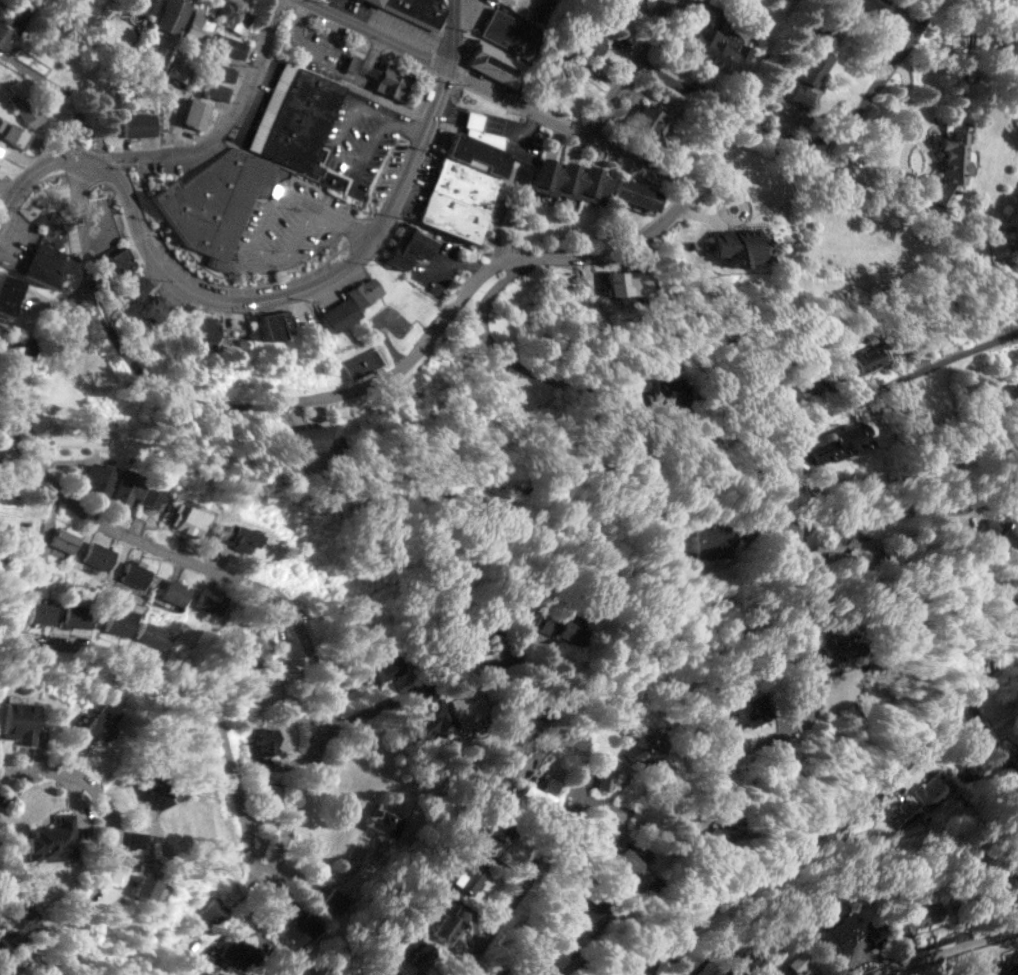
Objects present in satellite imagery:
building: (371, 2)
building: (873, 5)
building: (416, 10)
building: (544, 10)
building: (232, 15)
building: (170, 18)
building: (13, 19)
building: (197, 27)
building: (511, 32)
road: (377, 33)
road: (450, 34)
building: (589, 42)
building: (718, 44)
road: (331, 52)
building: (497, 65)
building: (811, 65)
road: (627, 67)
building: (571, 68)
building: (387, 82)
road: (905, 88)
building: (215, 90)
road: (860, 106)
building: (25, 109)
building: (196, 114)
building: (293, 117)
road: (224, 120)
road: (563, 122)
road: (492, 123)
building: (137, 124)
building: (649, 124)
road: (406, 128)
road: (773, 129)
building: (479, 131)
building: (13, 133)
building: (1, 147)
road: (330, 155)
road: (929, 158)
building: (951, 158)
road: (39, 168)
building: (571, 181)
building: (845, 183)
building: (460, 187)
building: (635, 194)
building: (217, 202)
road: (347, 218)
building: (739, 245)
road: (255, 246)
building: (405, 246)
building: (120, 260)
building: (42, 264)
building: (625, 283)
building: (136, 284)
road: (302, 291)
building: (6, 292)
building: (363, 292)
building: (151, 308)
building: (338, 314)
building: (268, 325)
building: (205, 331)
building: (24, 350)
building: (870, 356)
road: (511, 361)
building: (360, 362)
building: (845, 365)
road: (903, 378)
building: (791, 385)
road: (346, 394)
building: (1012, 395)
building: (310, 437)
building: (838, 444)
building: (99, 476)
building: (126, 486)
building: (150, 495)
building: (8, 497)
road: (883, 508)
building: (191, 517)
building: (1001, 530)
building: (238, 537)
building: (64, 539)
building: (708, 540)
building: (98, 556)
road: (197, 565)
building: (135, 573)
building: (176, 591)
building: (209, 600)
building: (40, 612)
building: (76, 616)
building: (118, 621)
building: (543, 624)
building: (569, 631)
building: (474, 633)
building: (152, 635)
building: (247, 646)
building: (836, 646)
road: (500, 659)
building: (388, 667)
road: (200, 682)
building: (467, 706)
building: (742, 711)
building: (100, 720)
building: (19, 721)
building: (427, 723)
building: (531, 725)
building: (264, 740)
building: (644, 744)
building: (1014, 757)
building: (261, 762)
building: (972, 770)
road: (704, 772)
building: (605, 777)
building: (548, 784)
building: (932, 789)
building: (267, 792)
building: (156, 793)
building: (533, 798)
building: (903, 813)
road: (825, 818)
building: (383, 821)
building: (723, 829)
building: (497, 830)
building: (134, 839)
building: (52, 840)
road: (115, 847)
building: (485, 850)
building: (631, 869)
building: (466, 877)
building: (1013, 883)
road: (518, 885)
building: (148, 889)
building: (334, 900)
building: (208, 911)
building: (918, 916)
building: (587, 917)
building: (15, 924)
building: (446, 924)
building: (300, 930)
building: (850, 933)
building: (560, 947)
building: (239, 950)
road: (949, 950)
building: (416, 954)
building: (997, 968)
building: (388, 970)

